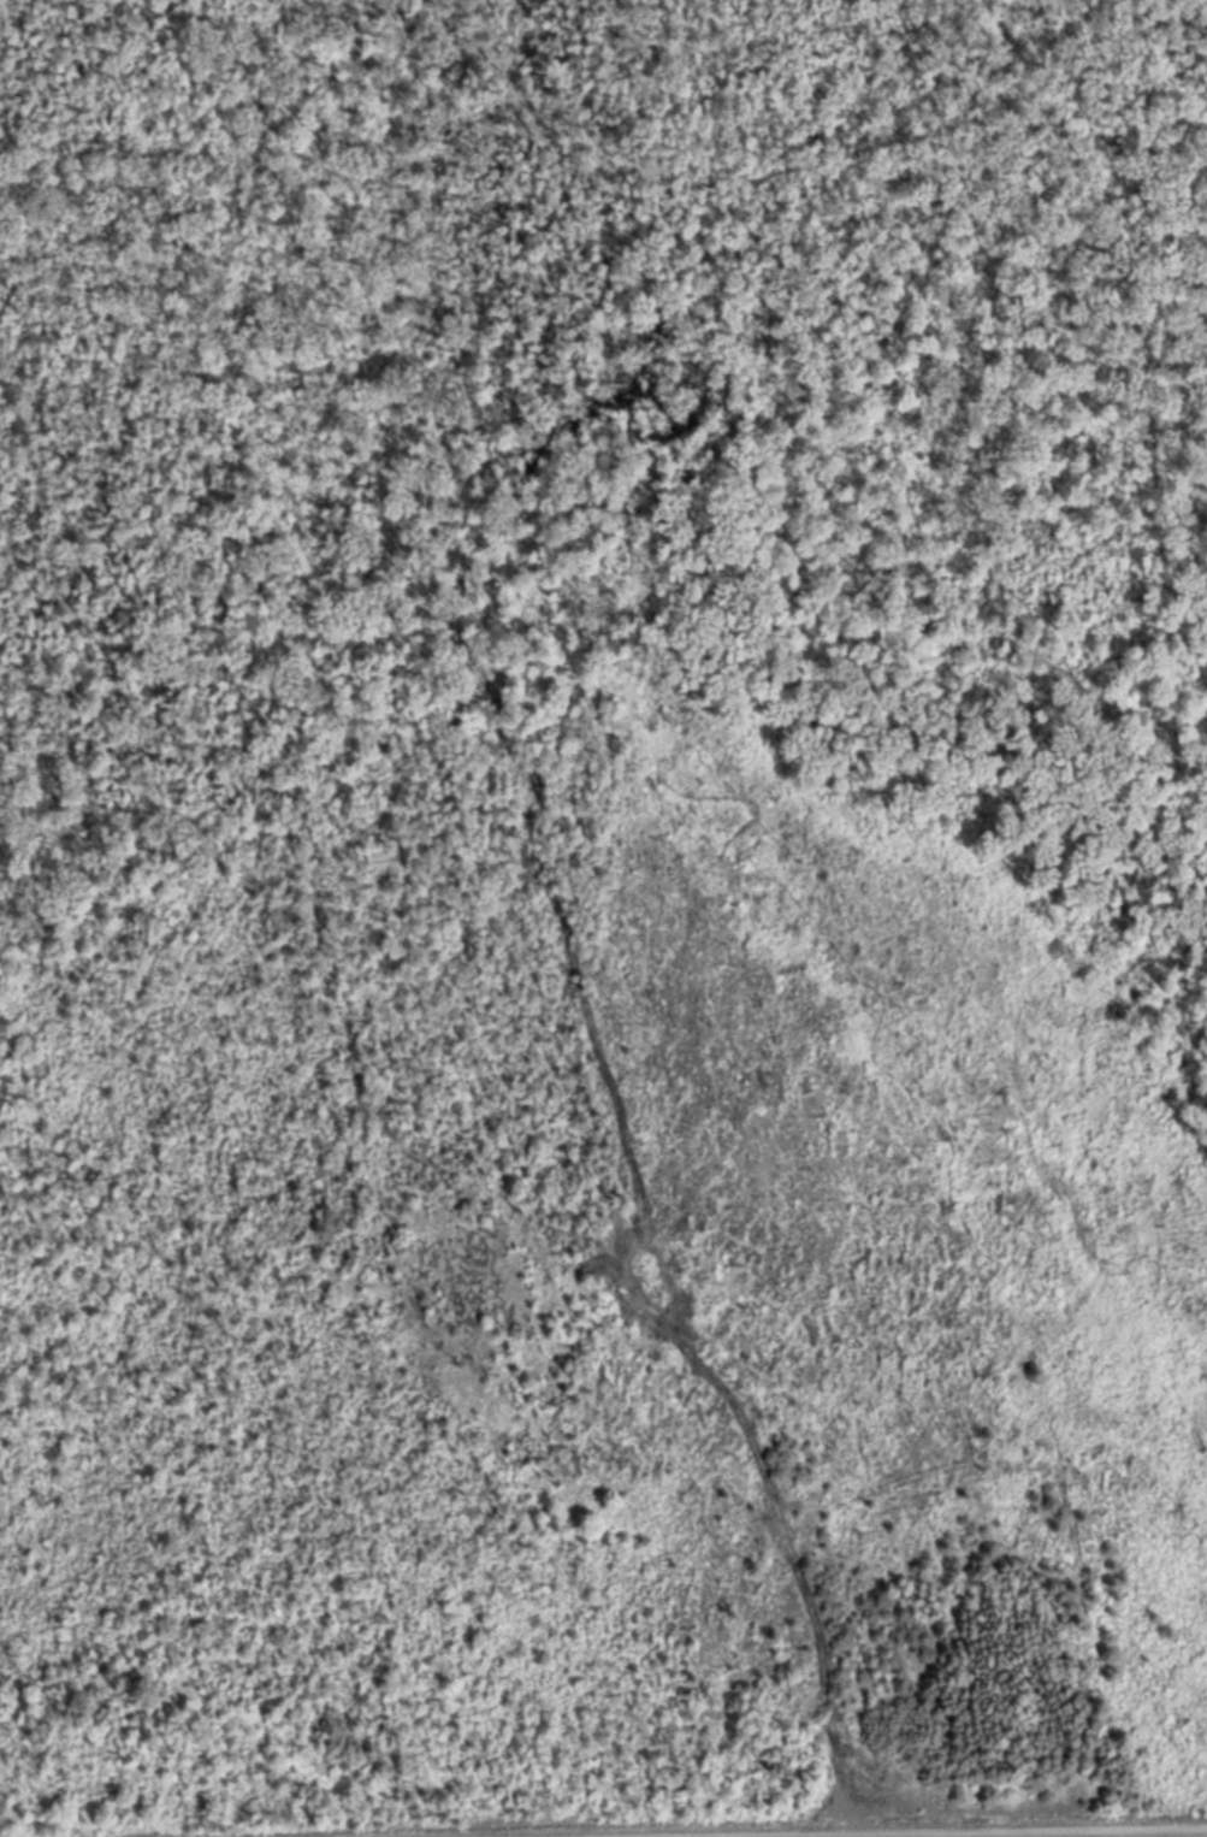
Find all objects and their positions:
road: (1063, 1833)

